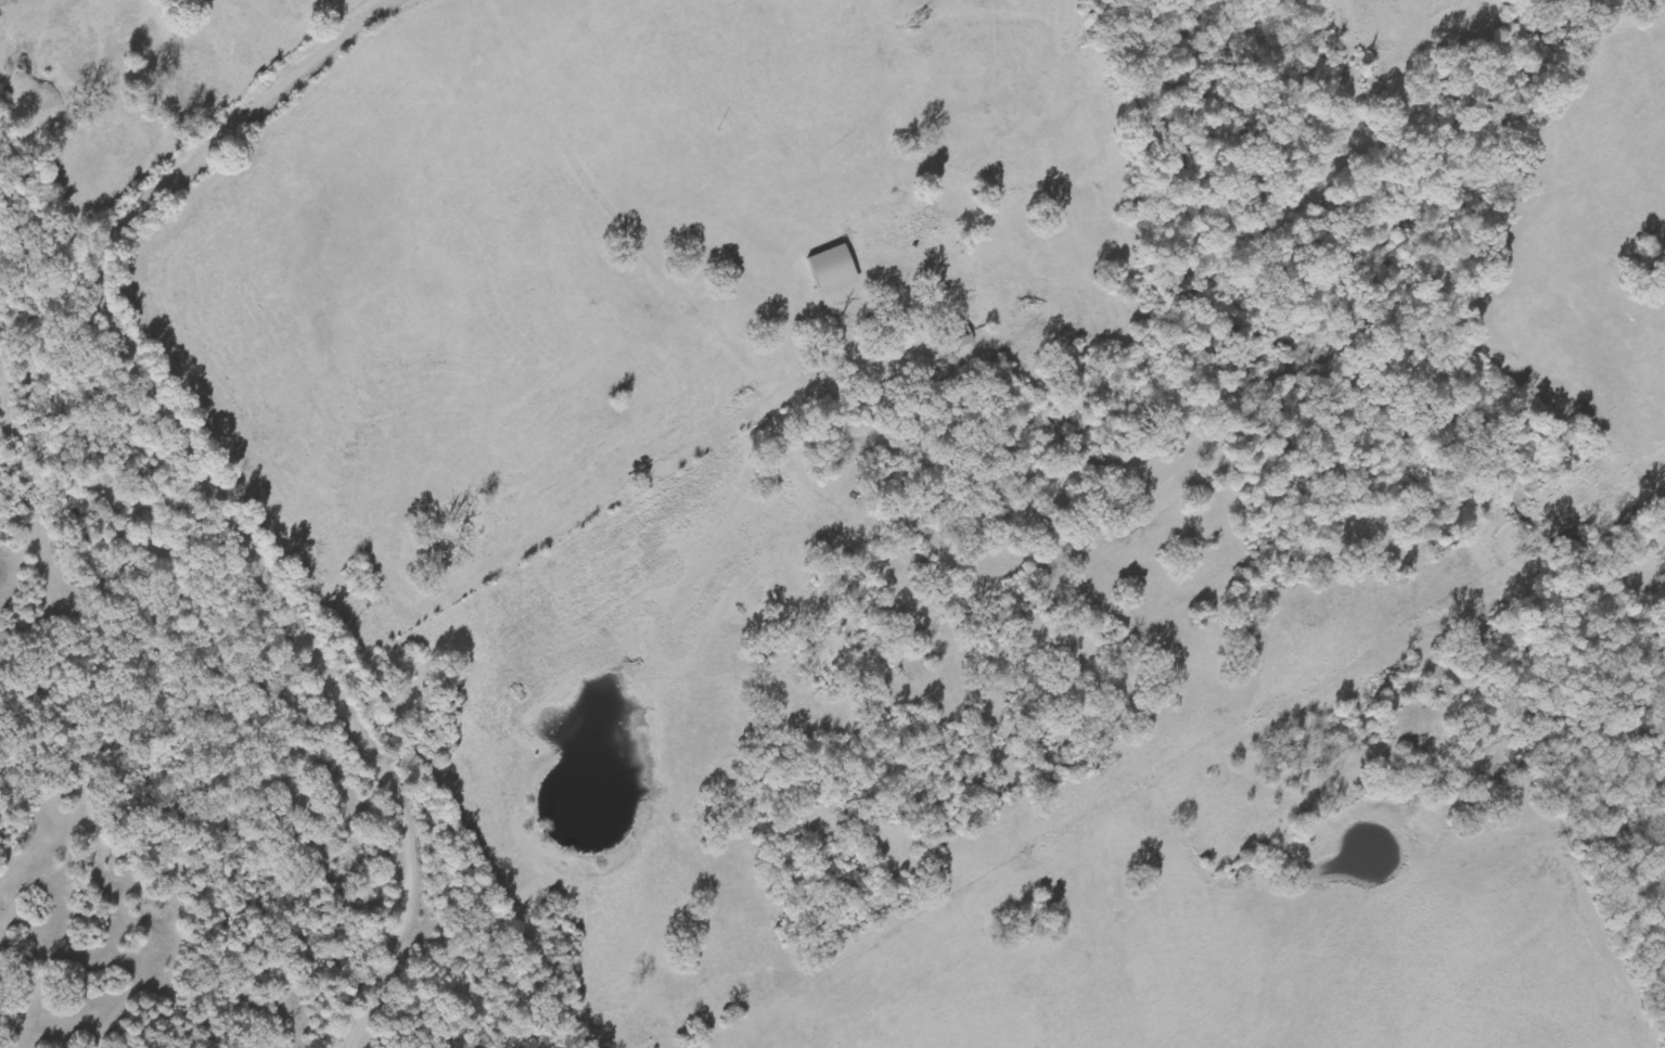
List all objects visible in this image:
road: (597, 189)
building: (831, 270)
road: (194, 469)

